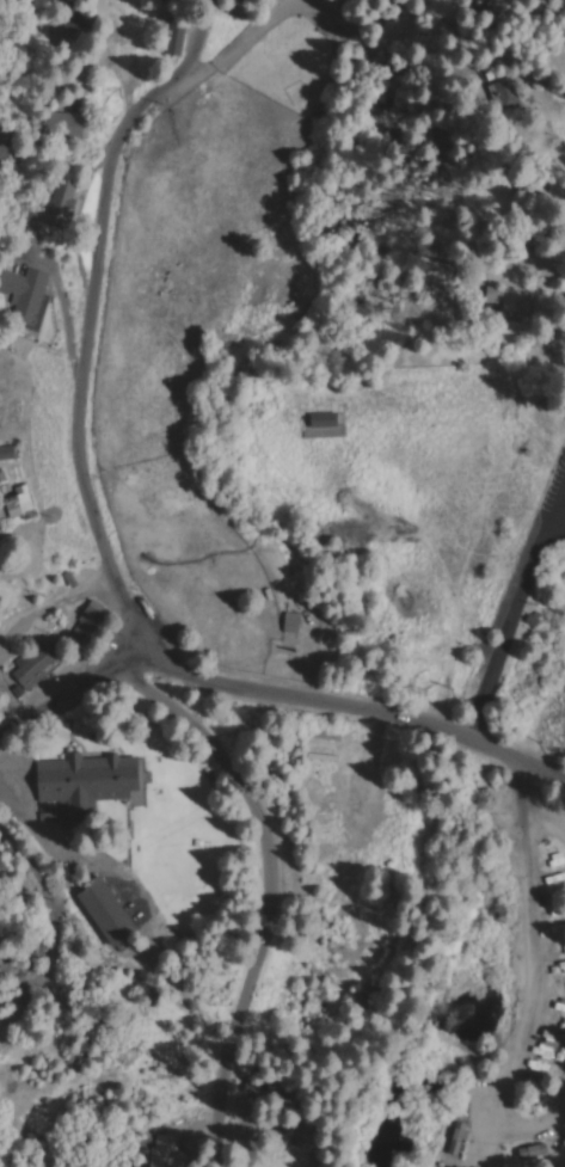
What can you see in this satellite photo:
building: (176, 41)
building: (65, 122)
building: (65, 204)
road: (533, 272)
building: (25, 294)
building: (511, 300)
road: (90, 319)
building: (321, 419)
building: (7, 453)
building: (17, 504)
road: (516, 610)
building: (291, 621)
building: (87, 625)
building: (32, 667)
road: (280, 694)
building: (86, 781)
building: (0, 865)
road: (266, 889)
road: (47, 903)
building: (108, 913)
road: (529, 950)
building: (5, 1036)
building: (173, 1149)

